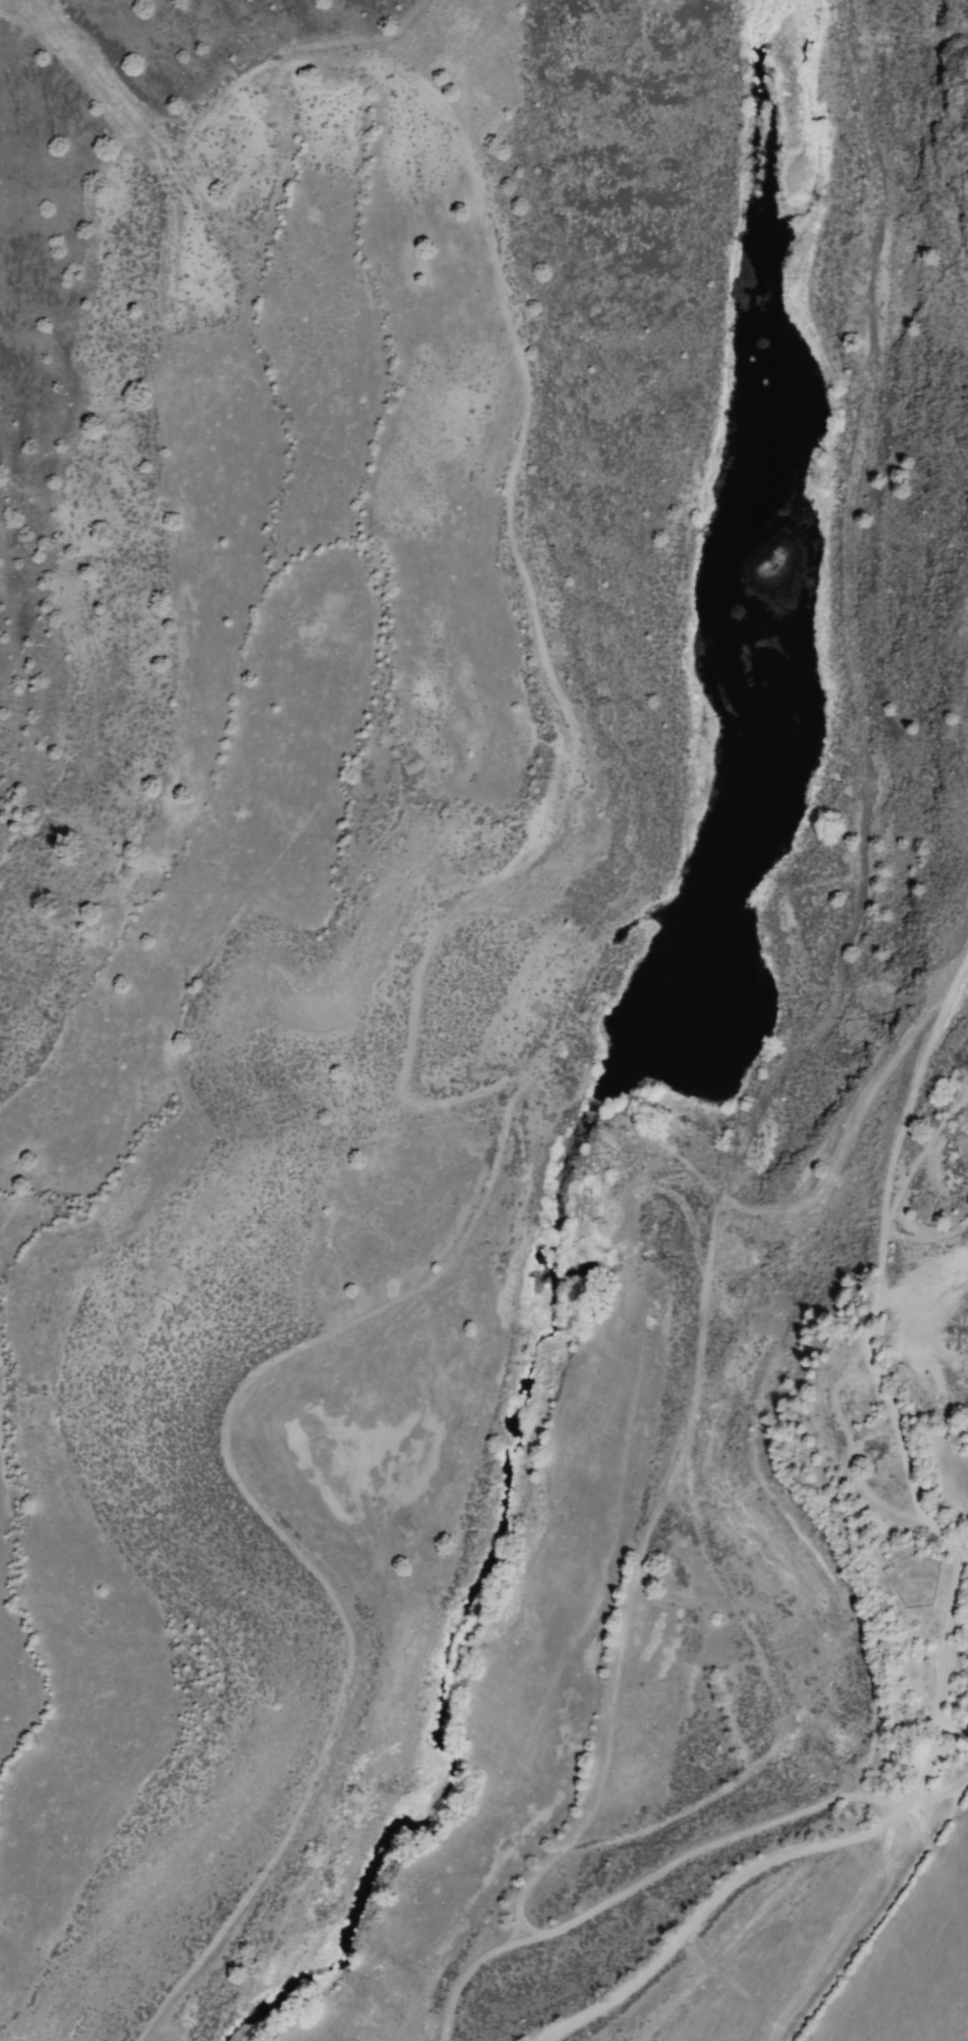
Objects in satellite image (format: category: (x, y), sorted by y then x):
airport taxiway: (944, 1275)
road: (933, 1513)

